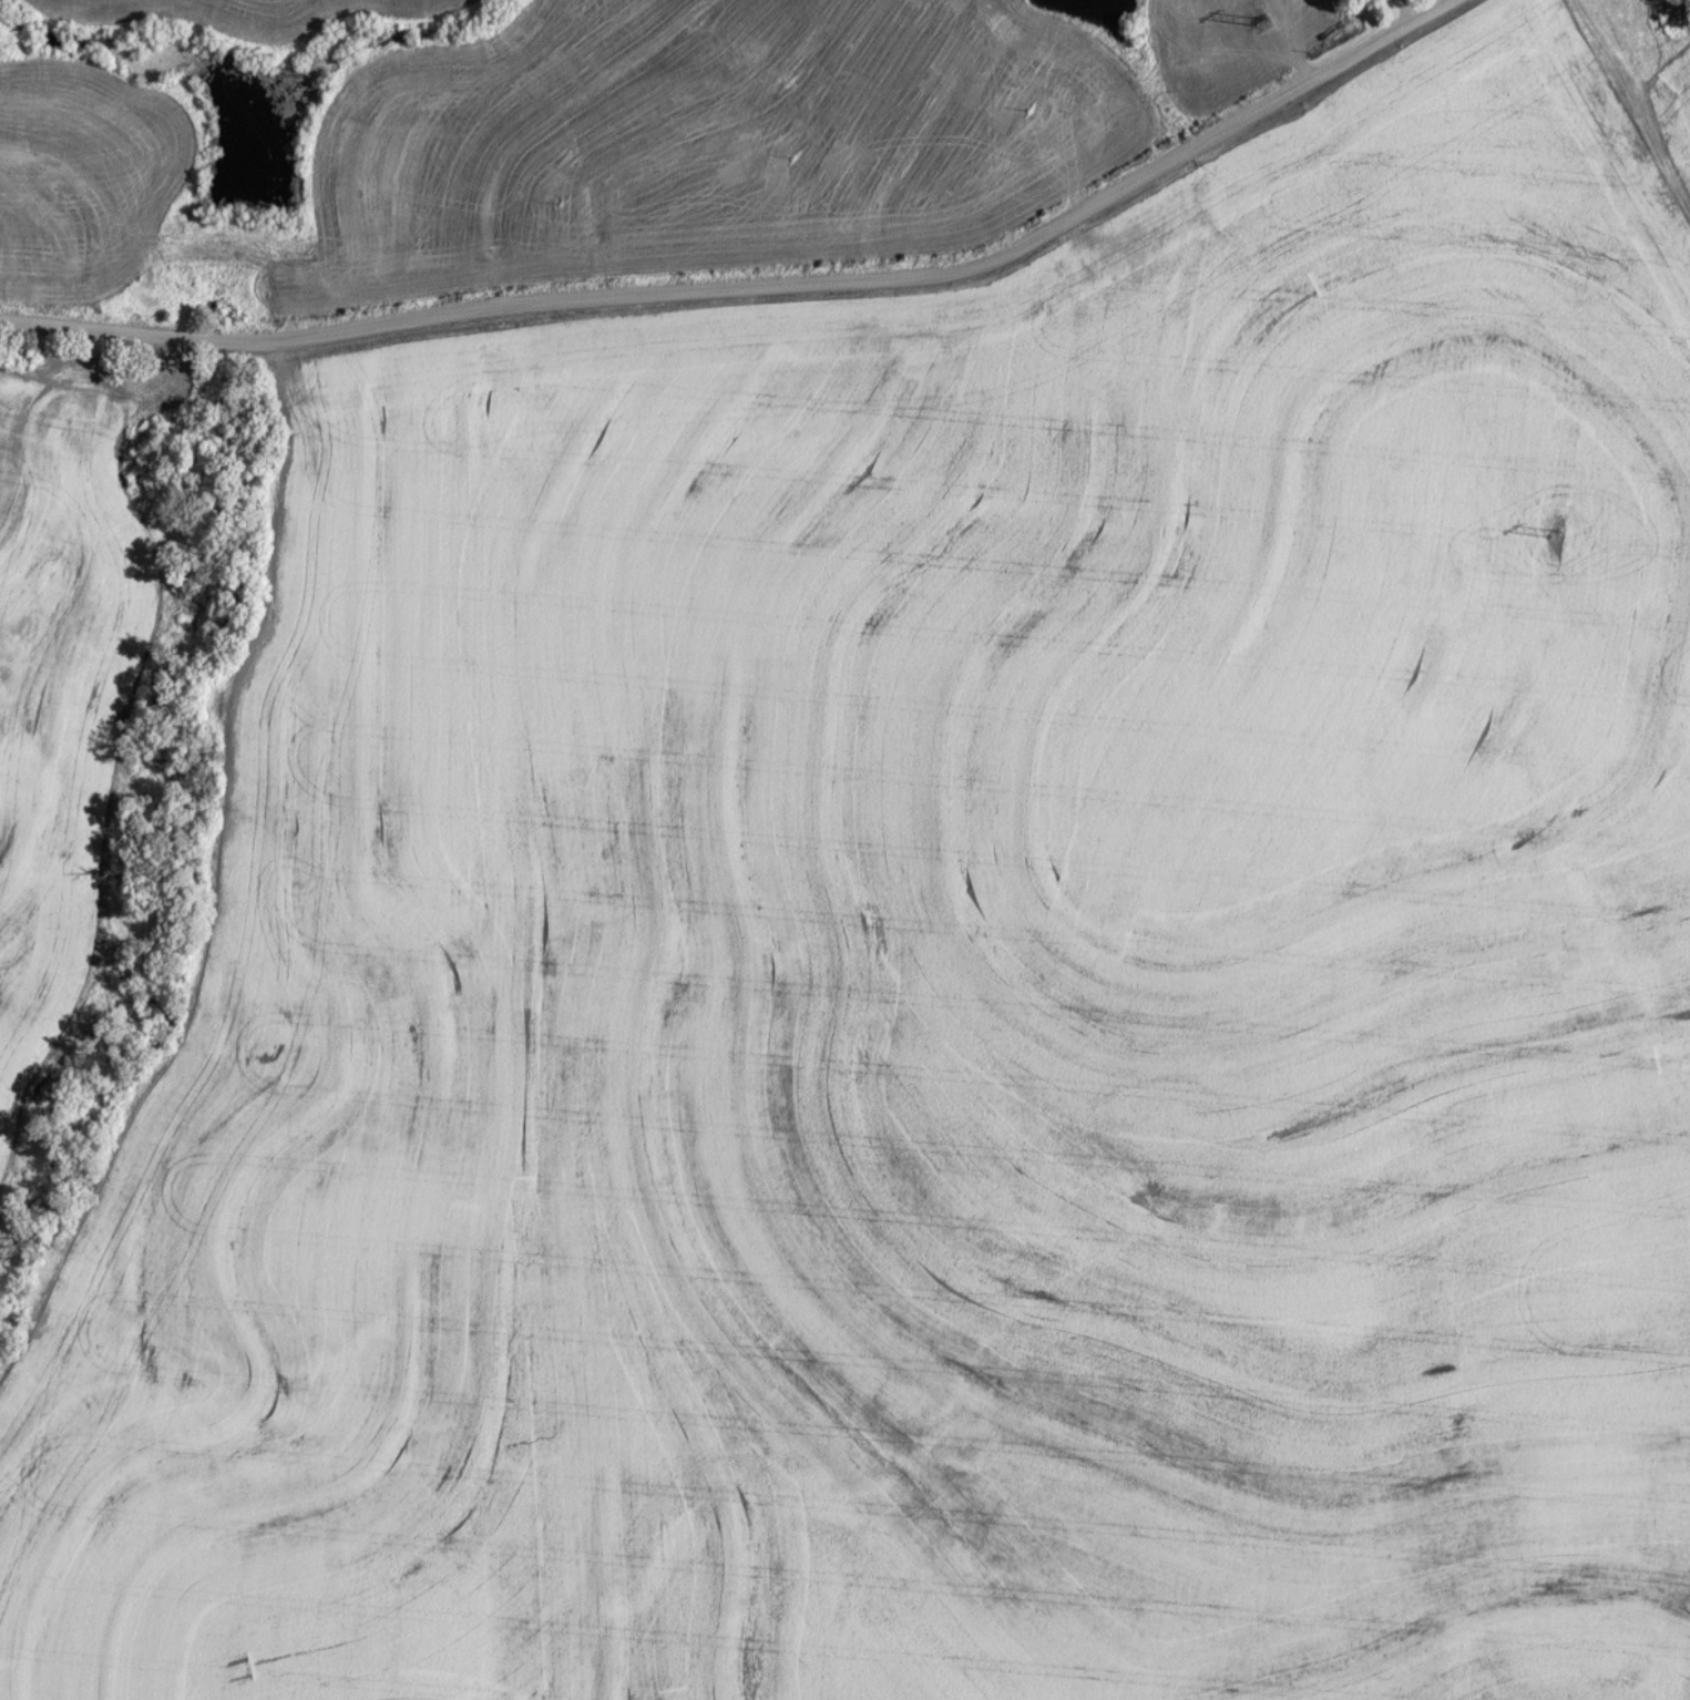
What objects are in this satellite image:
road: (1401, 12)
road: (758, 288)

